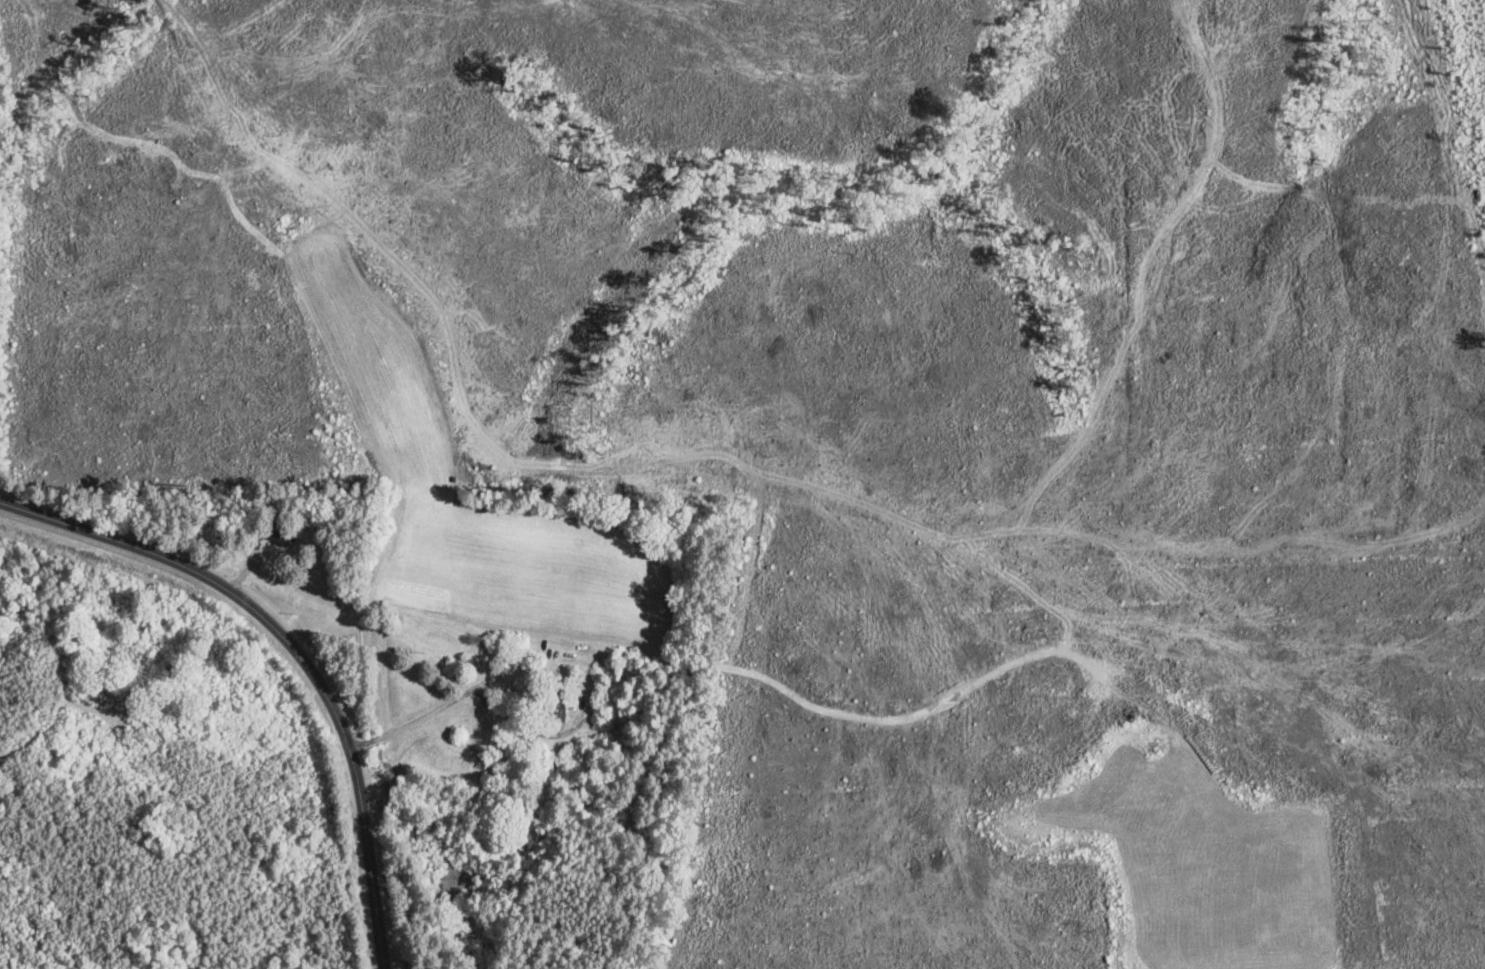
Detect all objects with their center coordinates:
building: (282, 534)
road: (297, 647)
building: (611, 683)
building: (556, 708)
building: (587, 749)
building: (494, 778)

